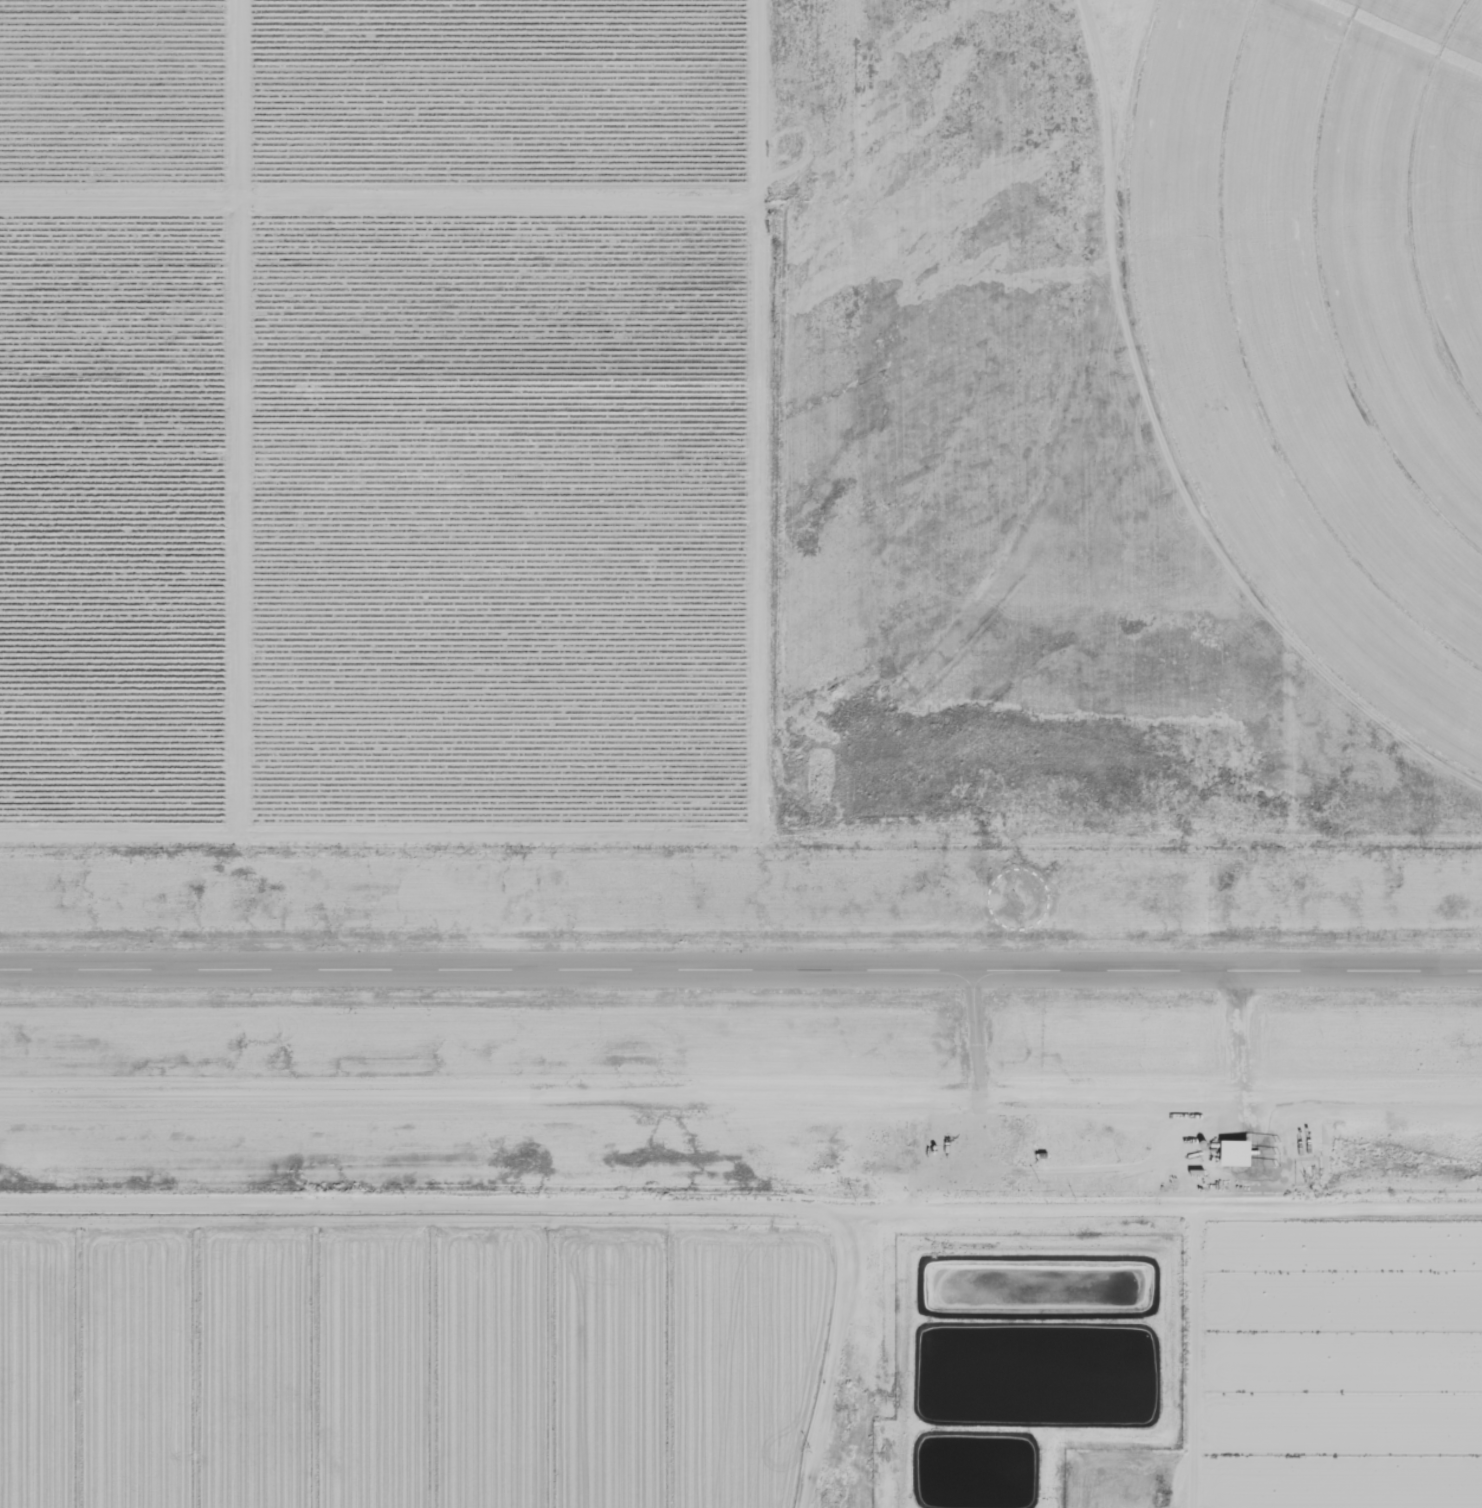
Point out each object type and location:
crop: (1329, 316)
airport runway: (740, 970)
airport: (741, 1024)
airport taxiway: (978, 1043)
airport apron: (962, 1153)
road: (914, 1198)
road: (740, 1208)
road: (1190, 1357)
road: (871, 1363)
crop: (408, 1366)

